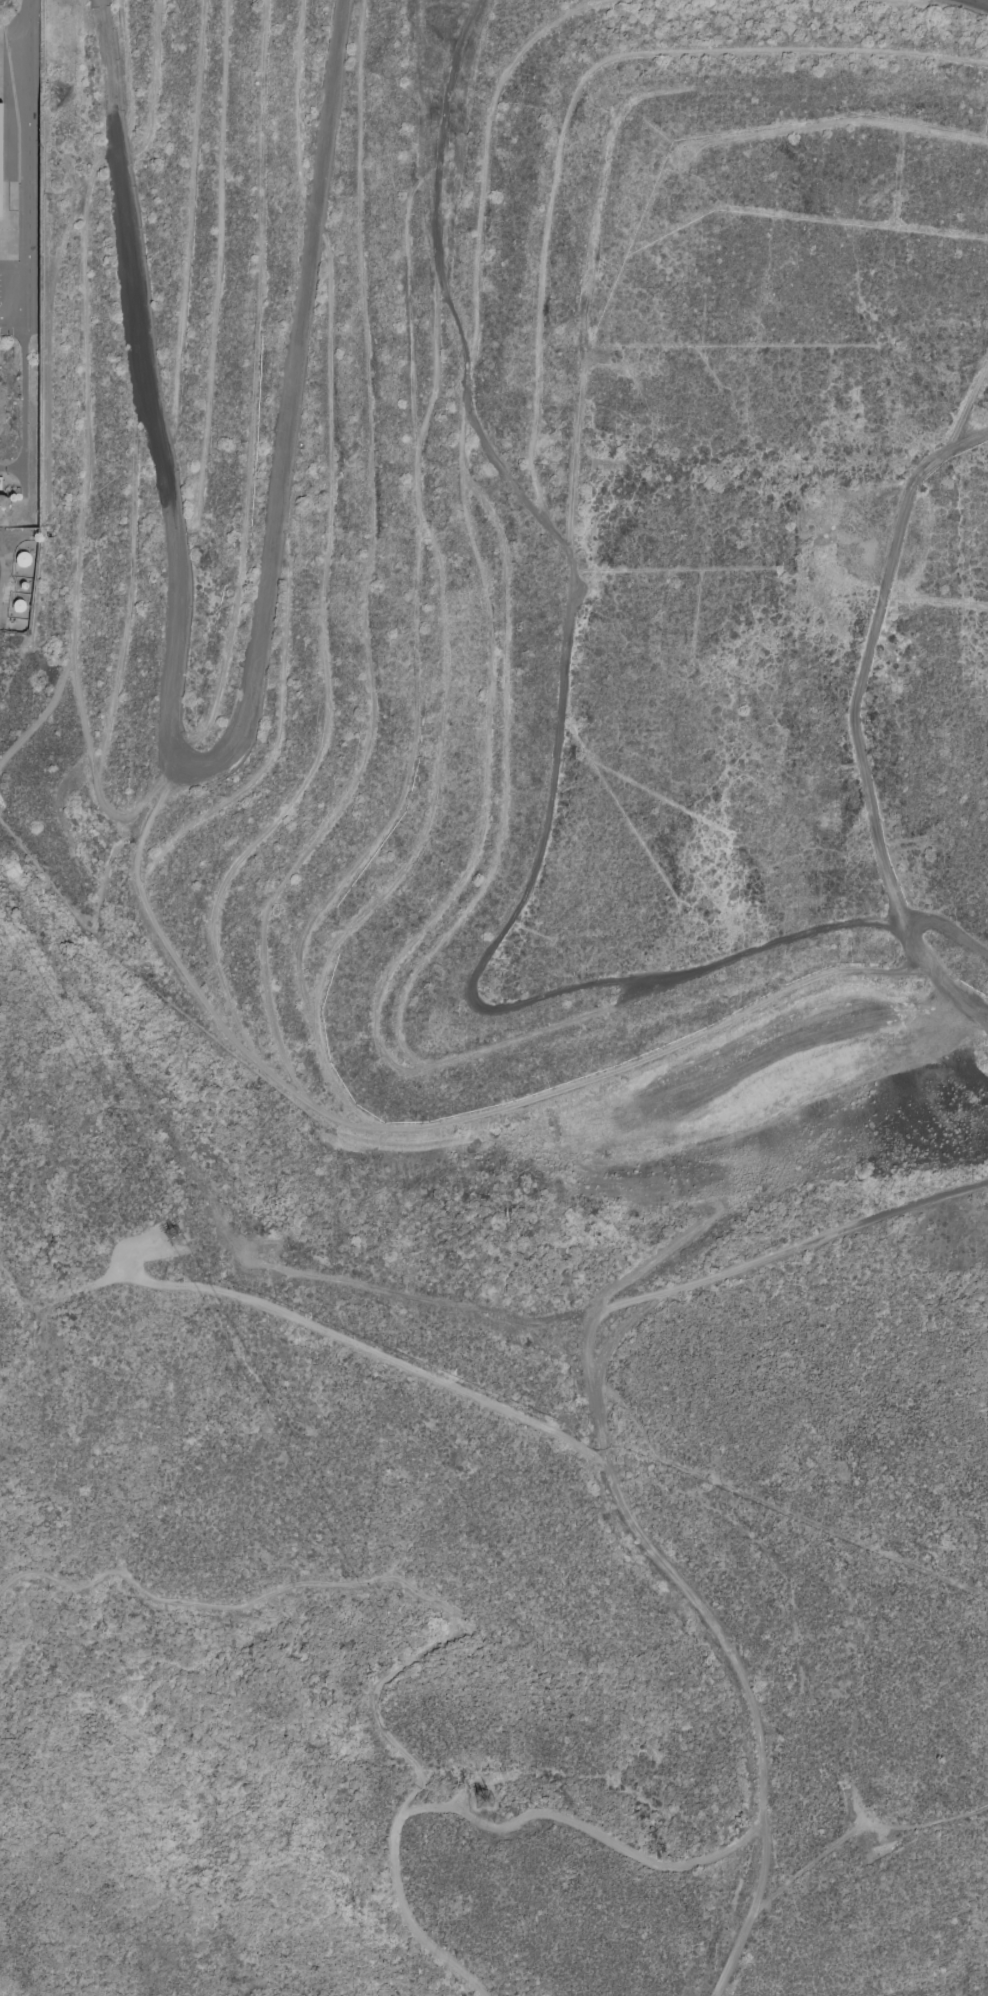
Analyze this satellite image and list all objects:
road: (98, 0)
road: (981, 2)
building: (0, 179)
road: (26, 248)
road: (13, 317)
landfill: (501, 550)
building: (22, 560)
road: (199, 767)
power tower: (182, 1242)
road: (606, 1297)
road: (616, 1488)
road: (780, 1509)
road: (447, 1608)
power tower: (486, 1805)
road: (581, 1828)
road: (857, 1833)

